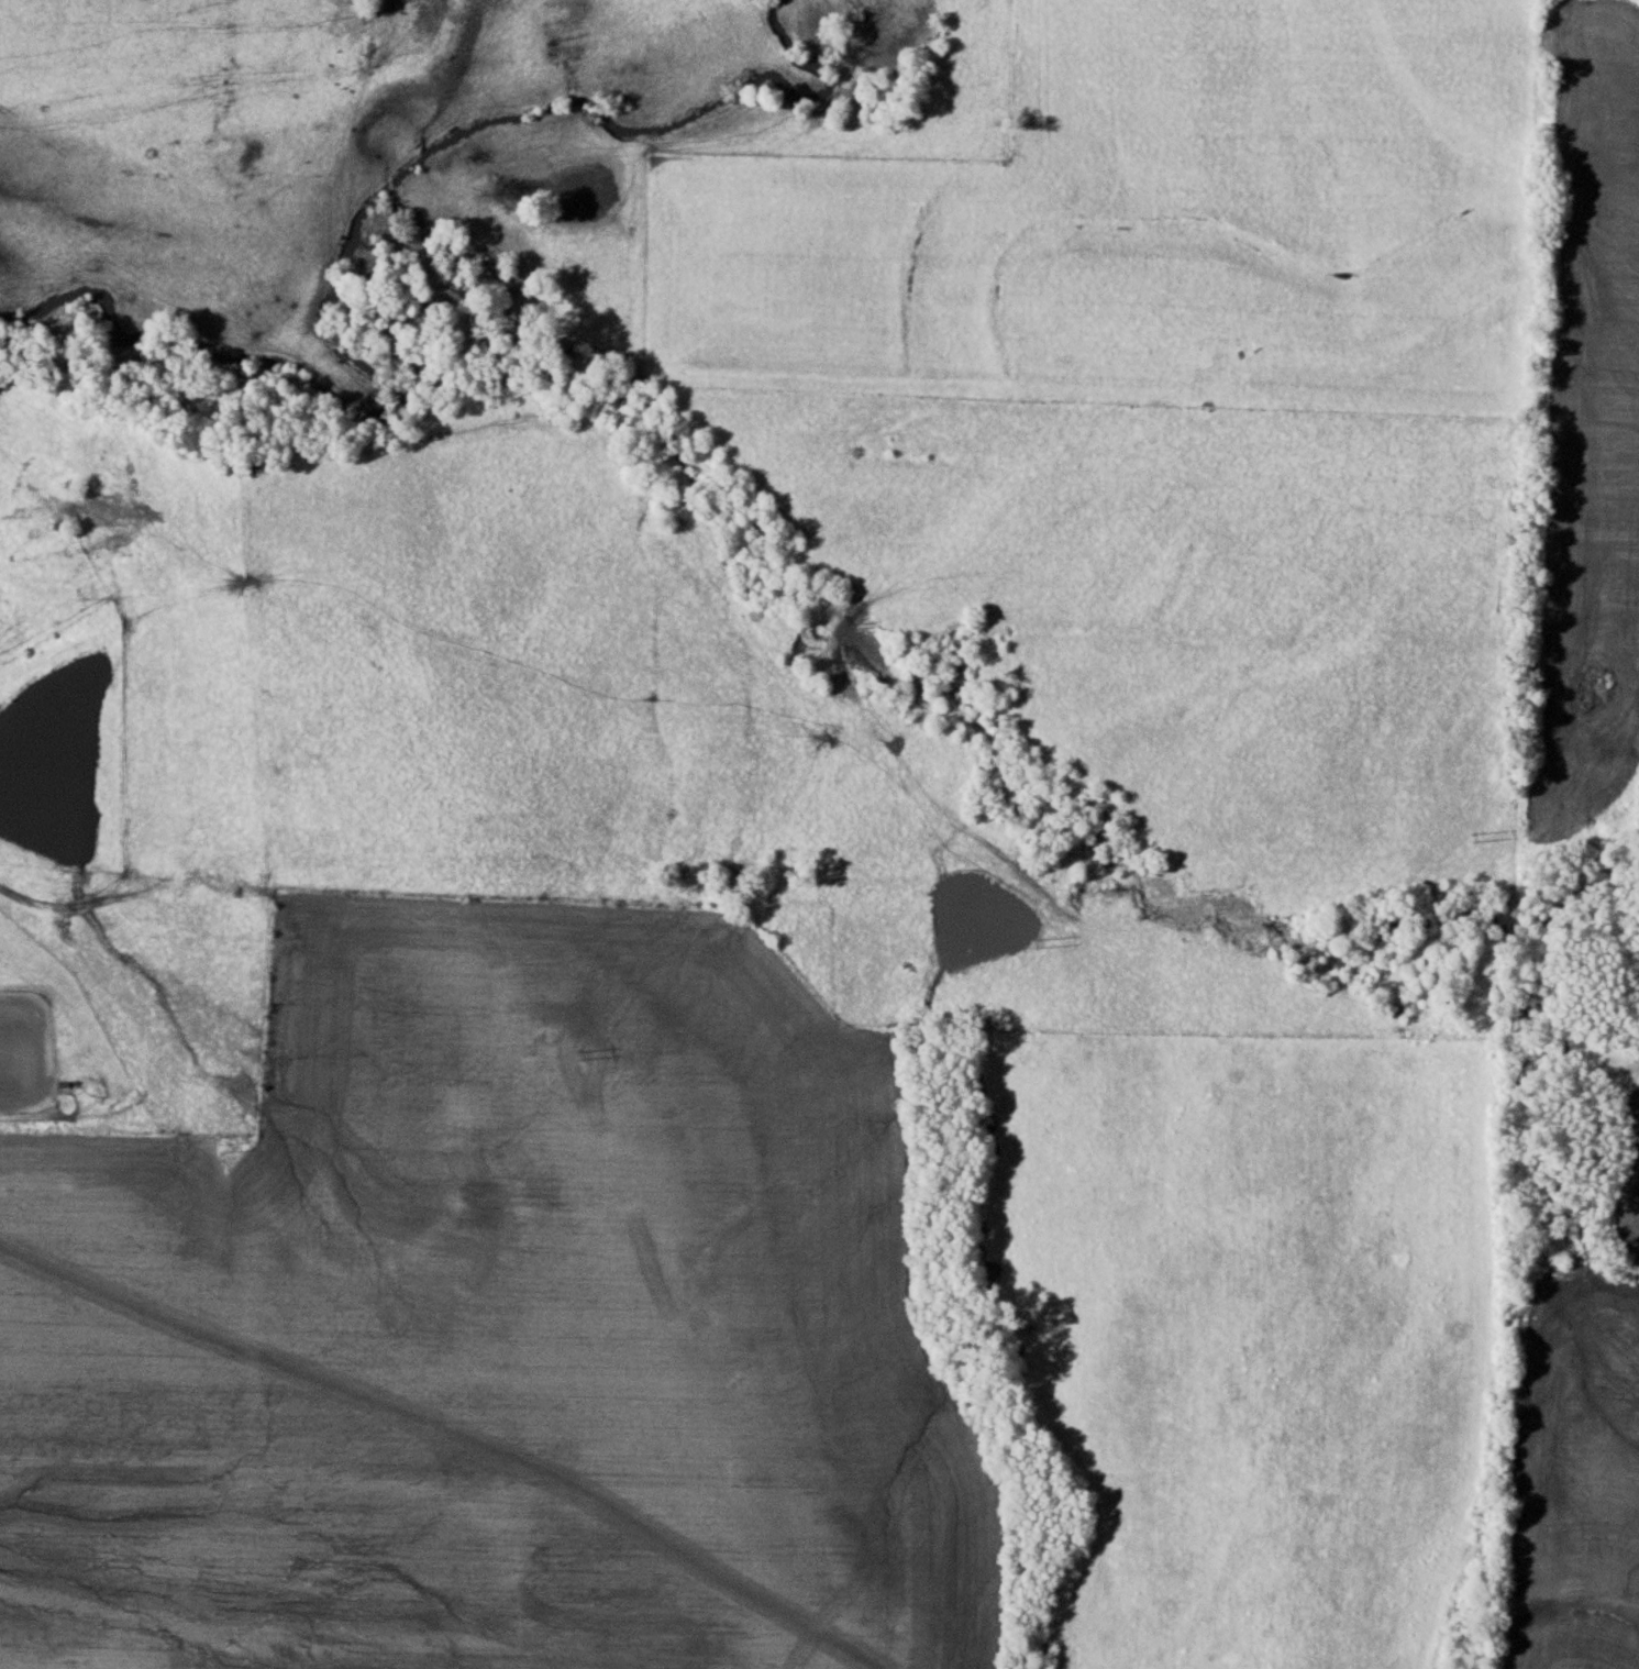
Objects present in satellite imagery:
power tower: (1470, 838)
power tower: (1030, 942)
power tower: (584, 1057)
power tower: (223, 1145)

